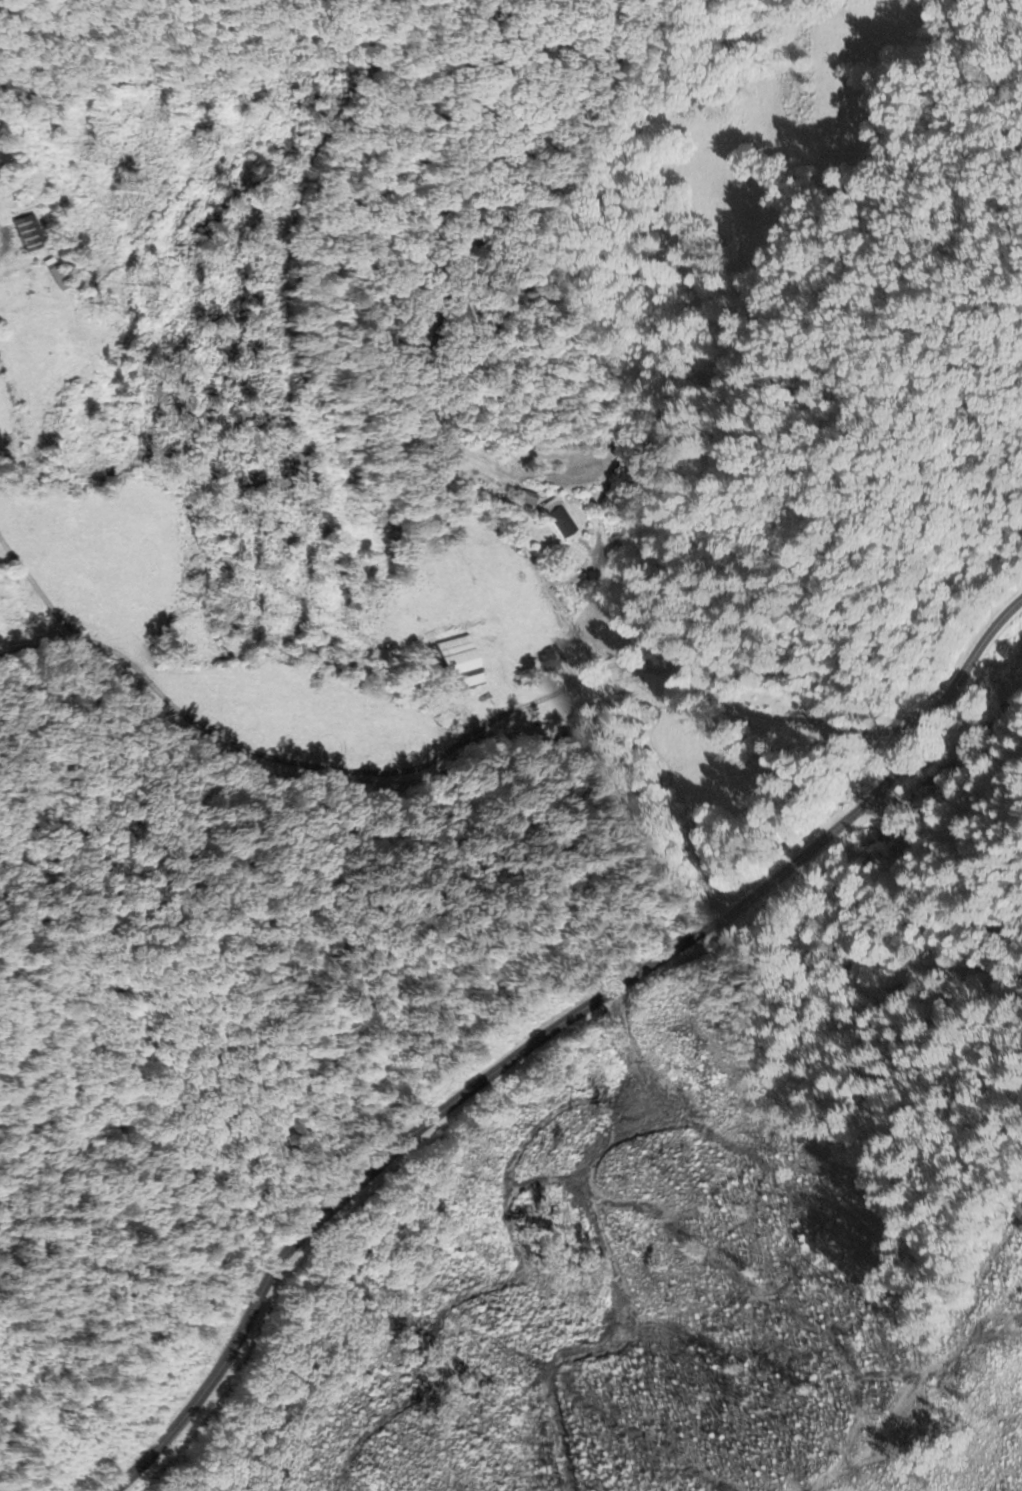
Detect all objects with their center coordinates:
road: (0, 232)
building: (22, 232)
building: (526, 498)
building: (557, 524)
road: (618, 611)
road: (973, 653)
building: (457, 663)
road: (437, 751)
road: (902, 760)
road: (835, 762)
road: (913, 904)
road: (447, 1105)

